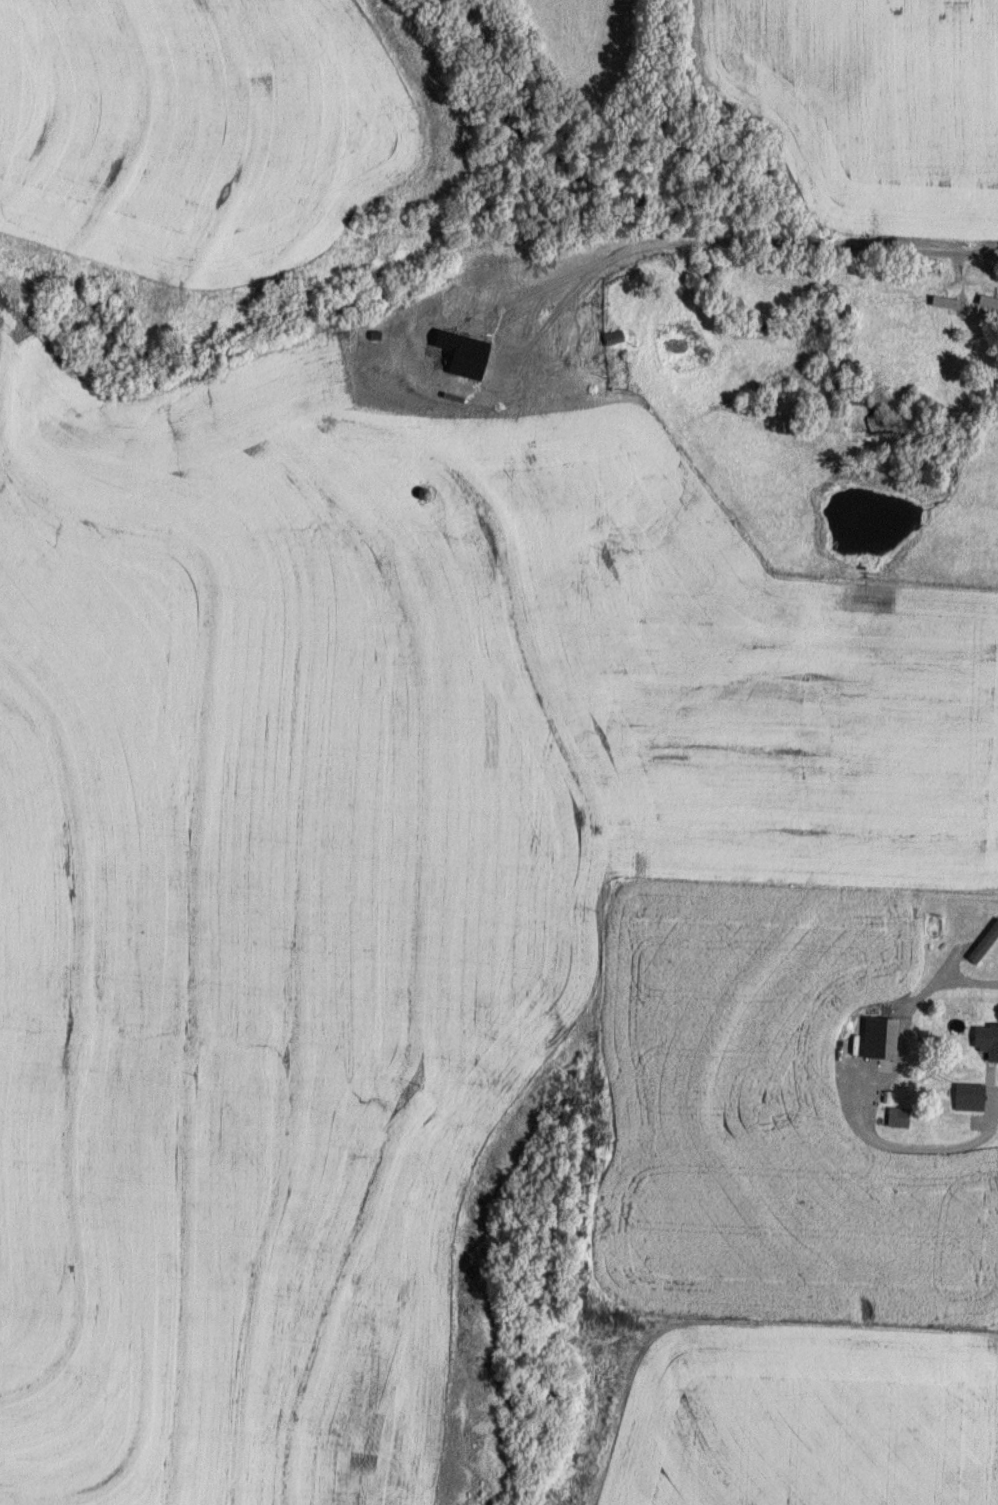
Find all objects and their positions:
road: (717, 239)
building: (985, 307)
building: (610, 338)
building: (985, 1042)
building: (965, 1098)
building: (895, 1119)

